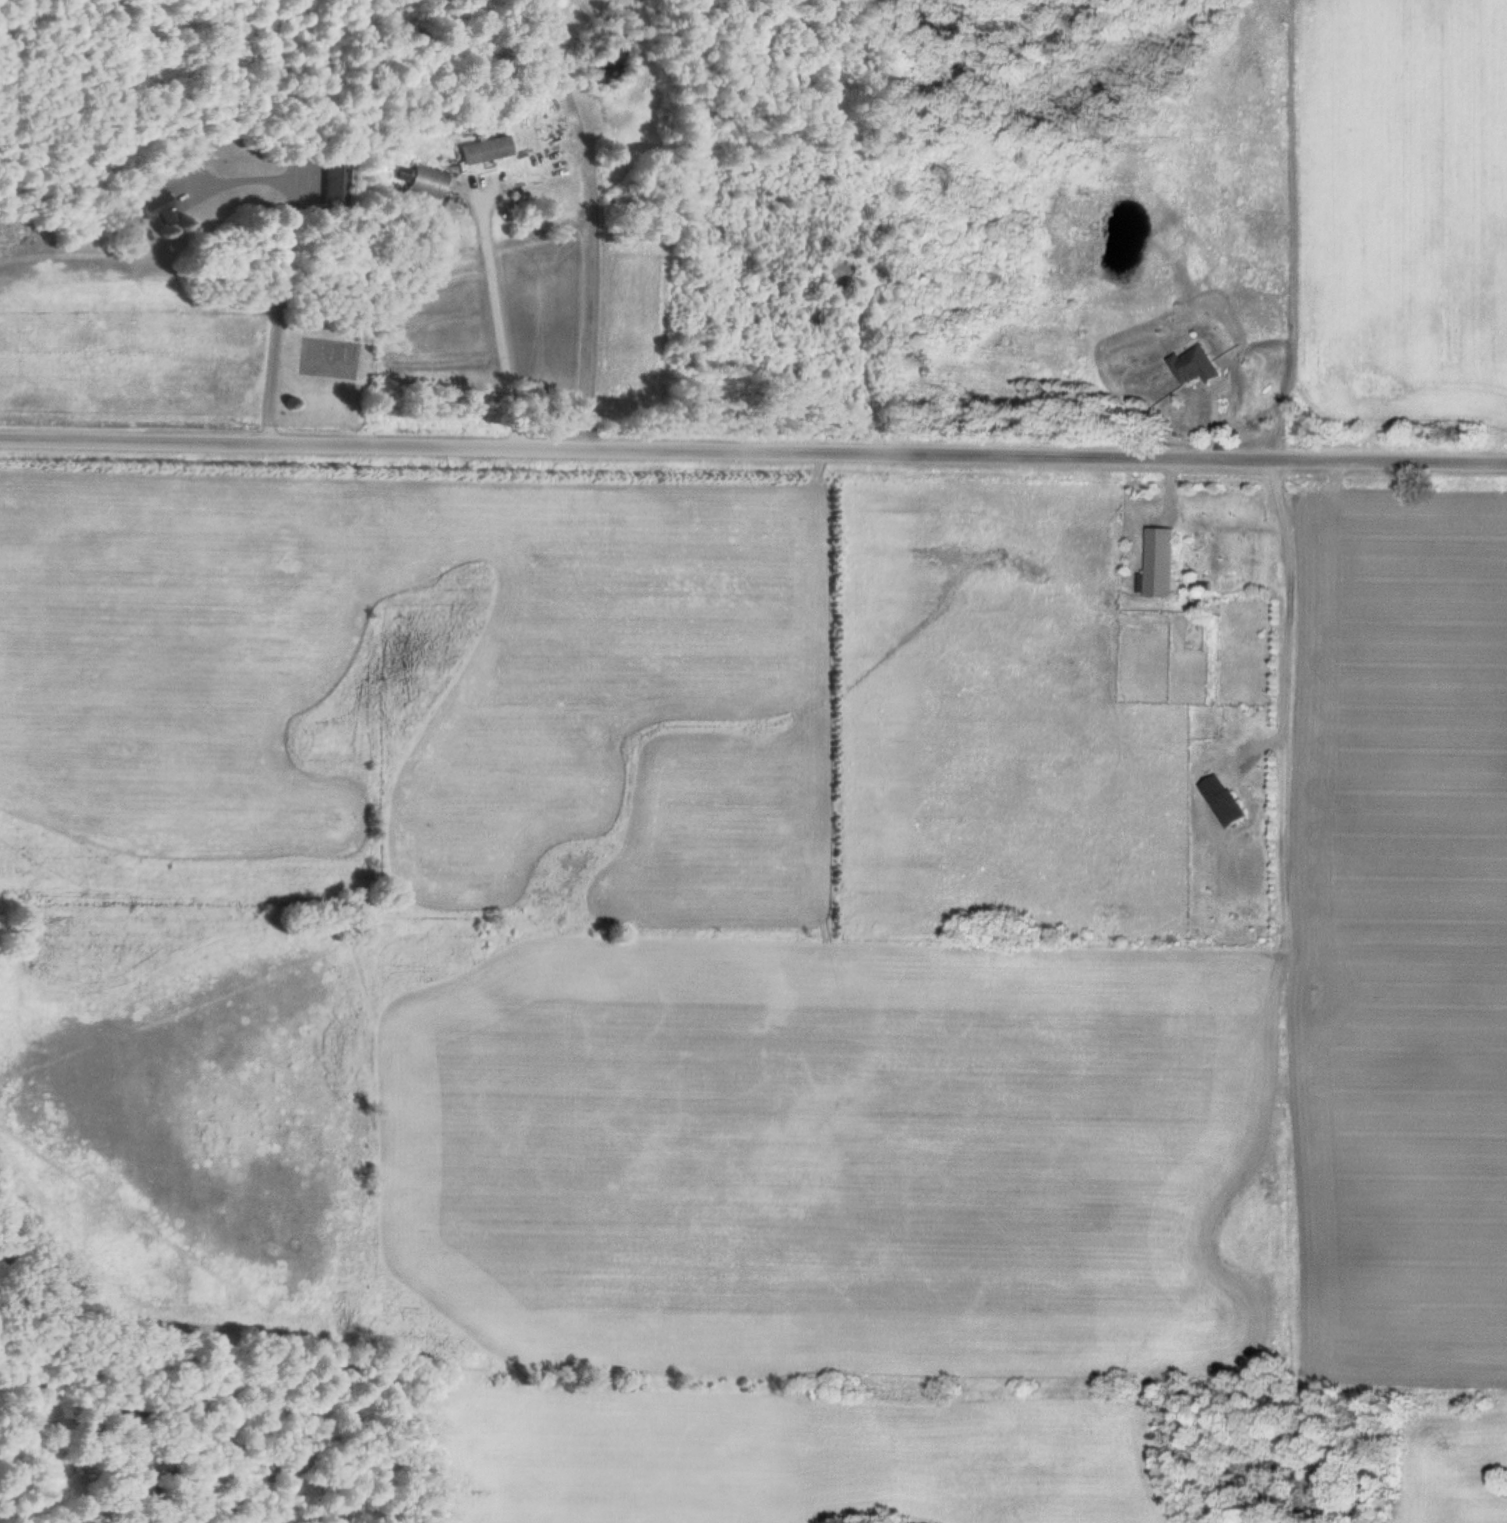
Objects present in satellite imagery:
building: (487, 149)
building: (426, 180)
building: (335, 184)
building: (157, 206)
building: (1199, 364)
road: (753, 448)
building: (1164, 561)
building: (1228, 799)

